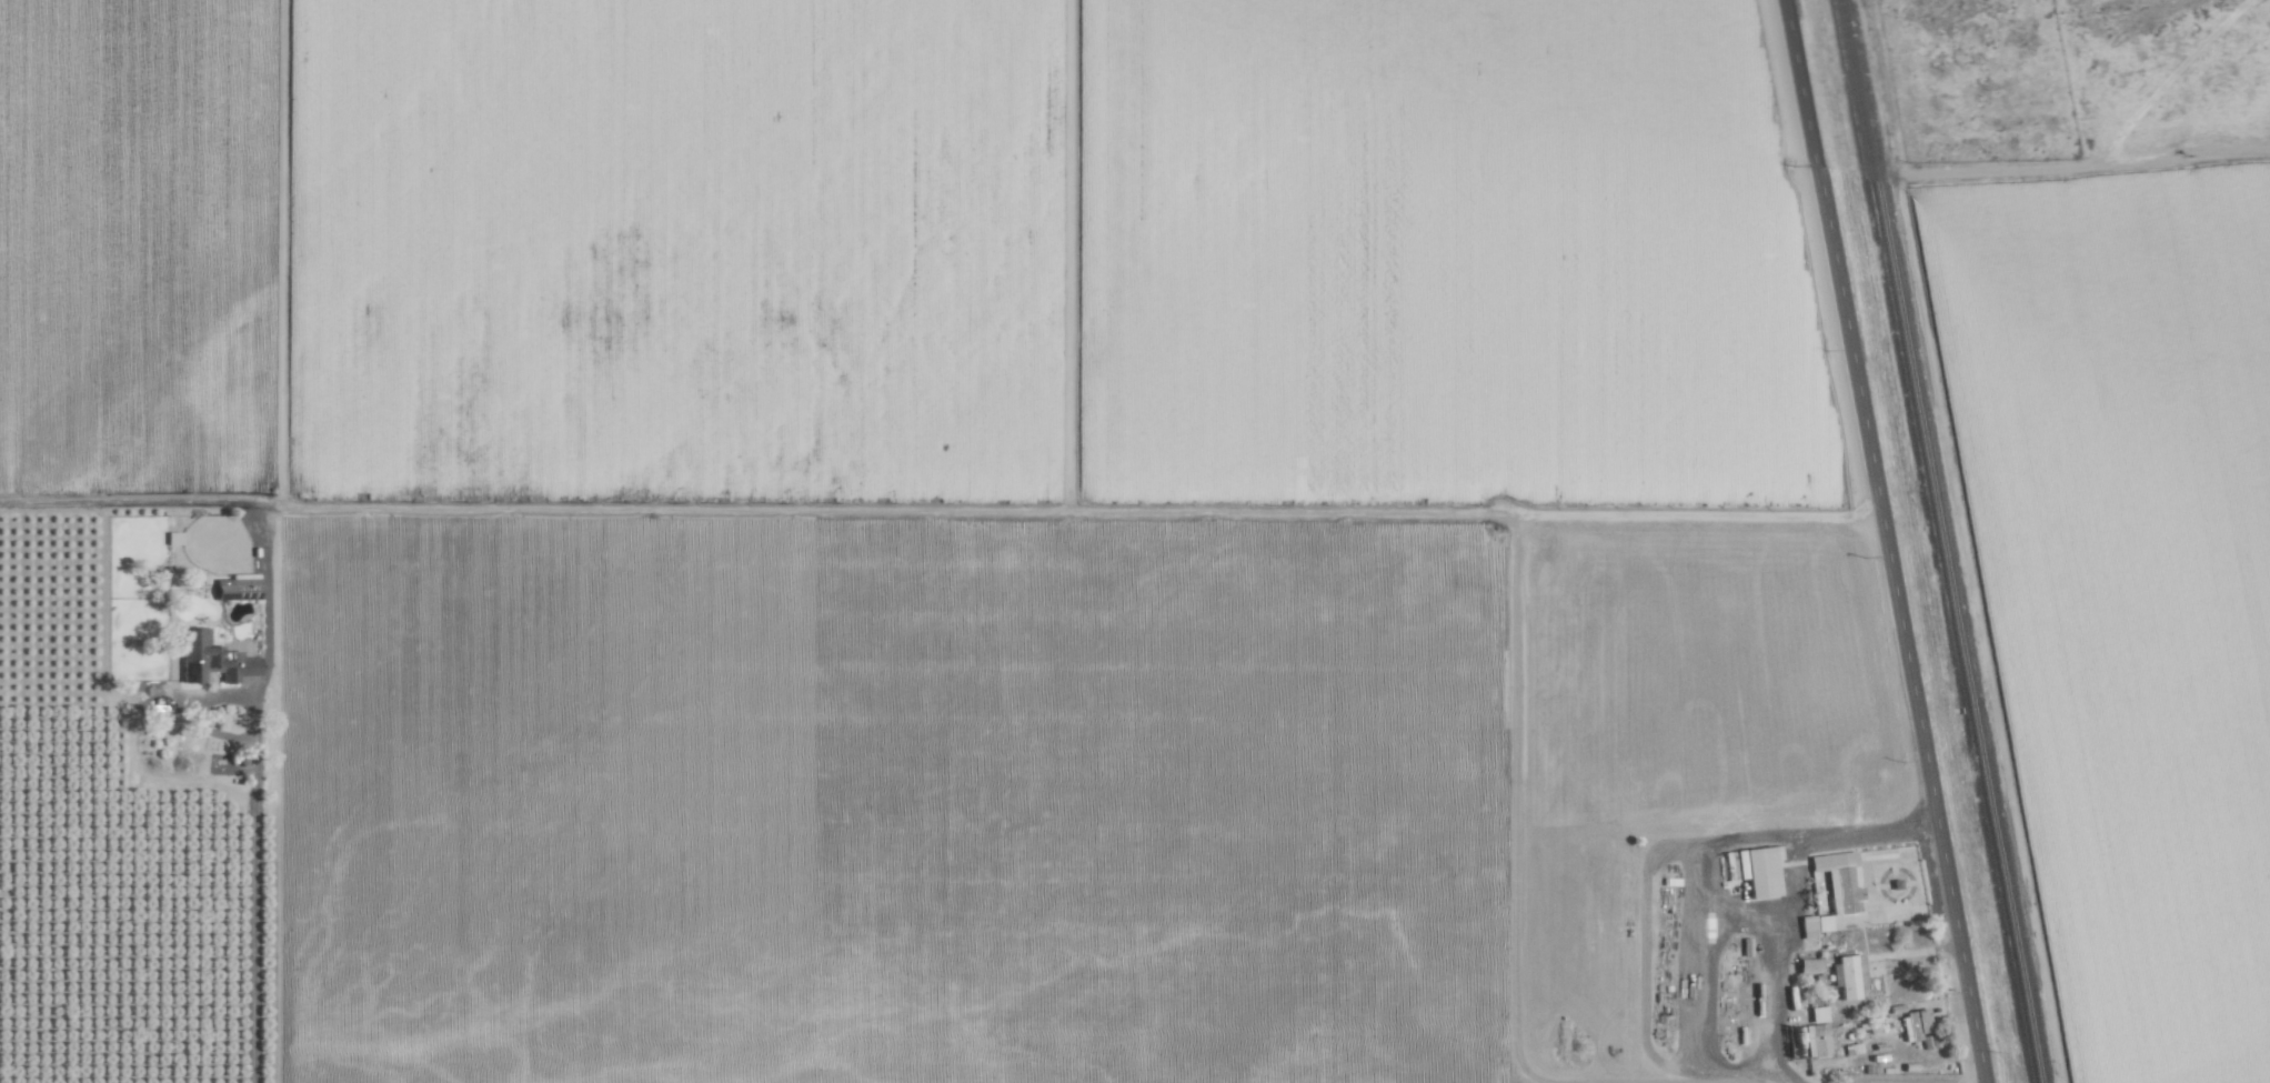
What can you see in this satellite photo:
road: (1067, 510)
road: (1884, 541)
railway: (1939, 541)
building: (240, 588)
building: (230, 663)
building: (1758, 871)
building: (1838, 903)
building: (1850, 976)
building: (1921, 1027)
building: (1818, 1034)

